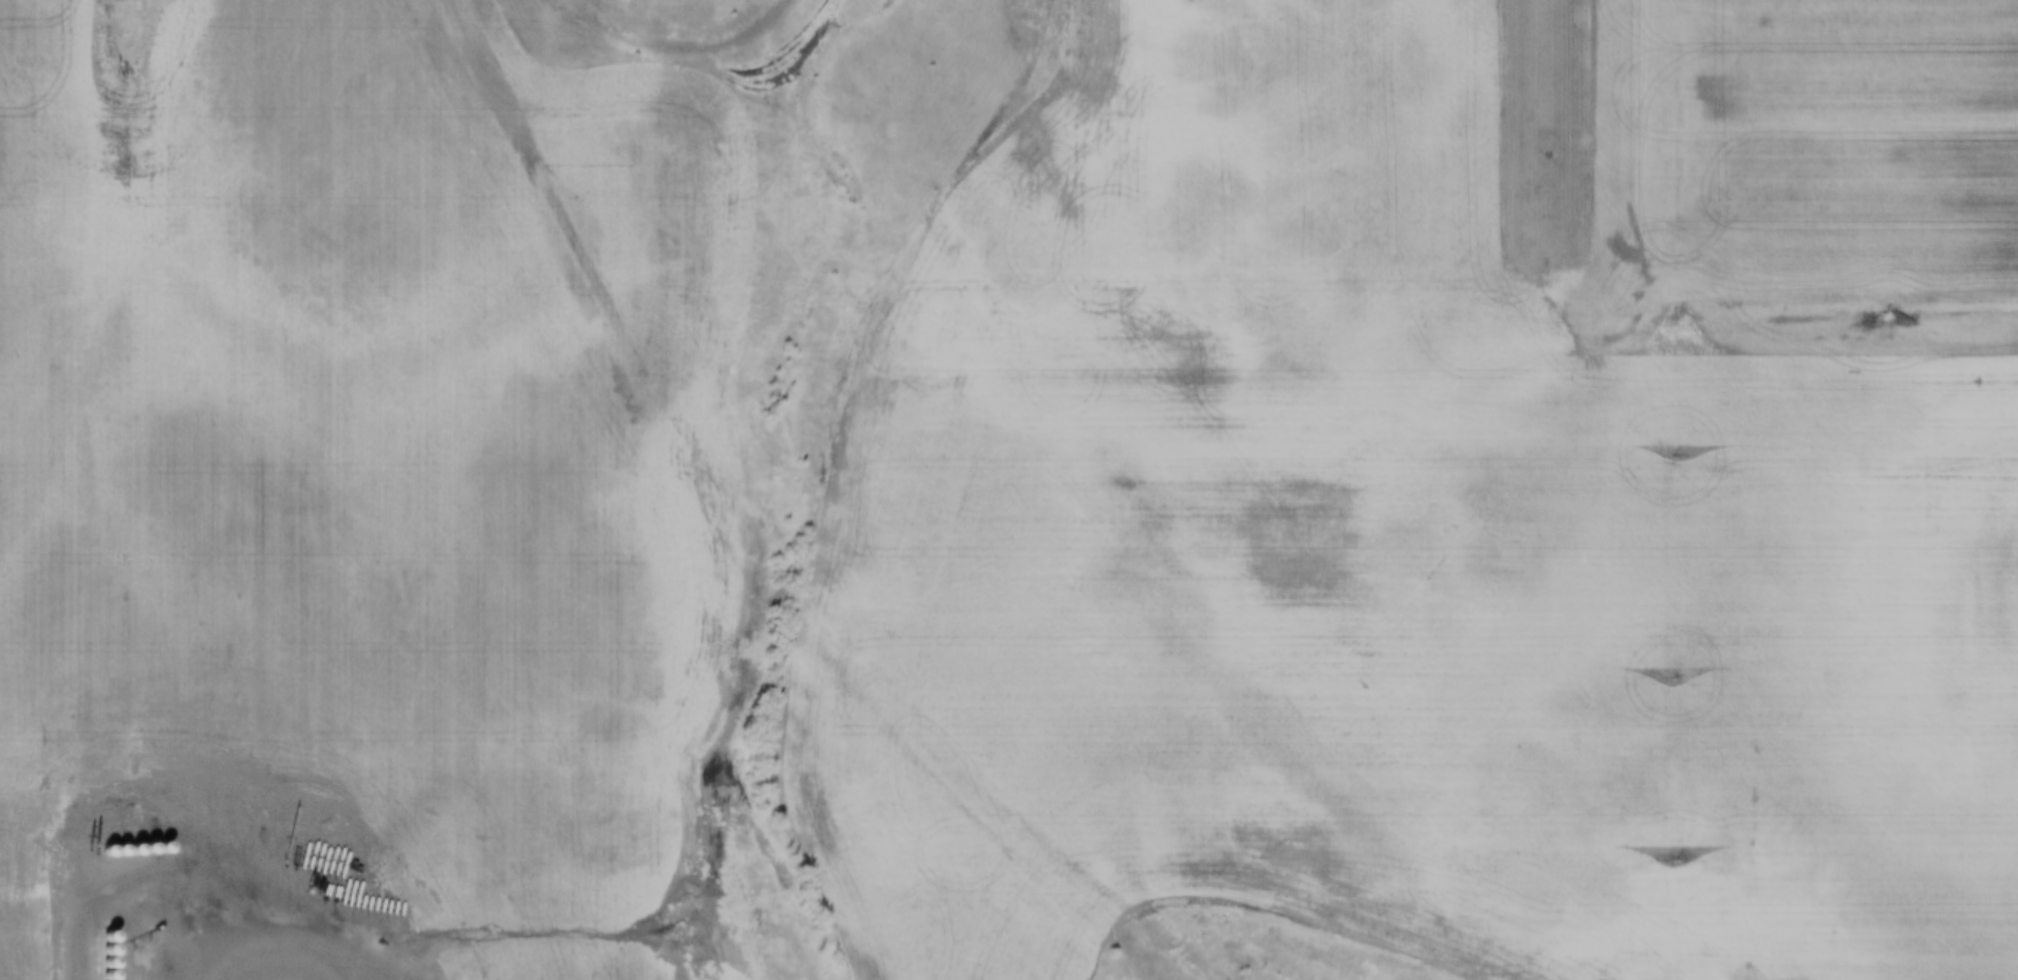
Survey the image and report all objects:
airport runway: (1537, 129)
airport: (1537, 149)
building: (140, 848)
silo: (140, 848)
building: (154, 848)
silo: (154, 848)
building: (100, 849)
silo: (100, 849)
building: (113, 849)
silo: (113, 849)
building: (127, 849)
silo: (127, 849)
building: (97, 937)
silo: (97, 937)
road: (173, 947)
building: (97, 951)
silo: (97, 951)
building: (97, 964)
silo: (97, 964)
building: (97, 975)
silo: (97, 975)

